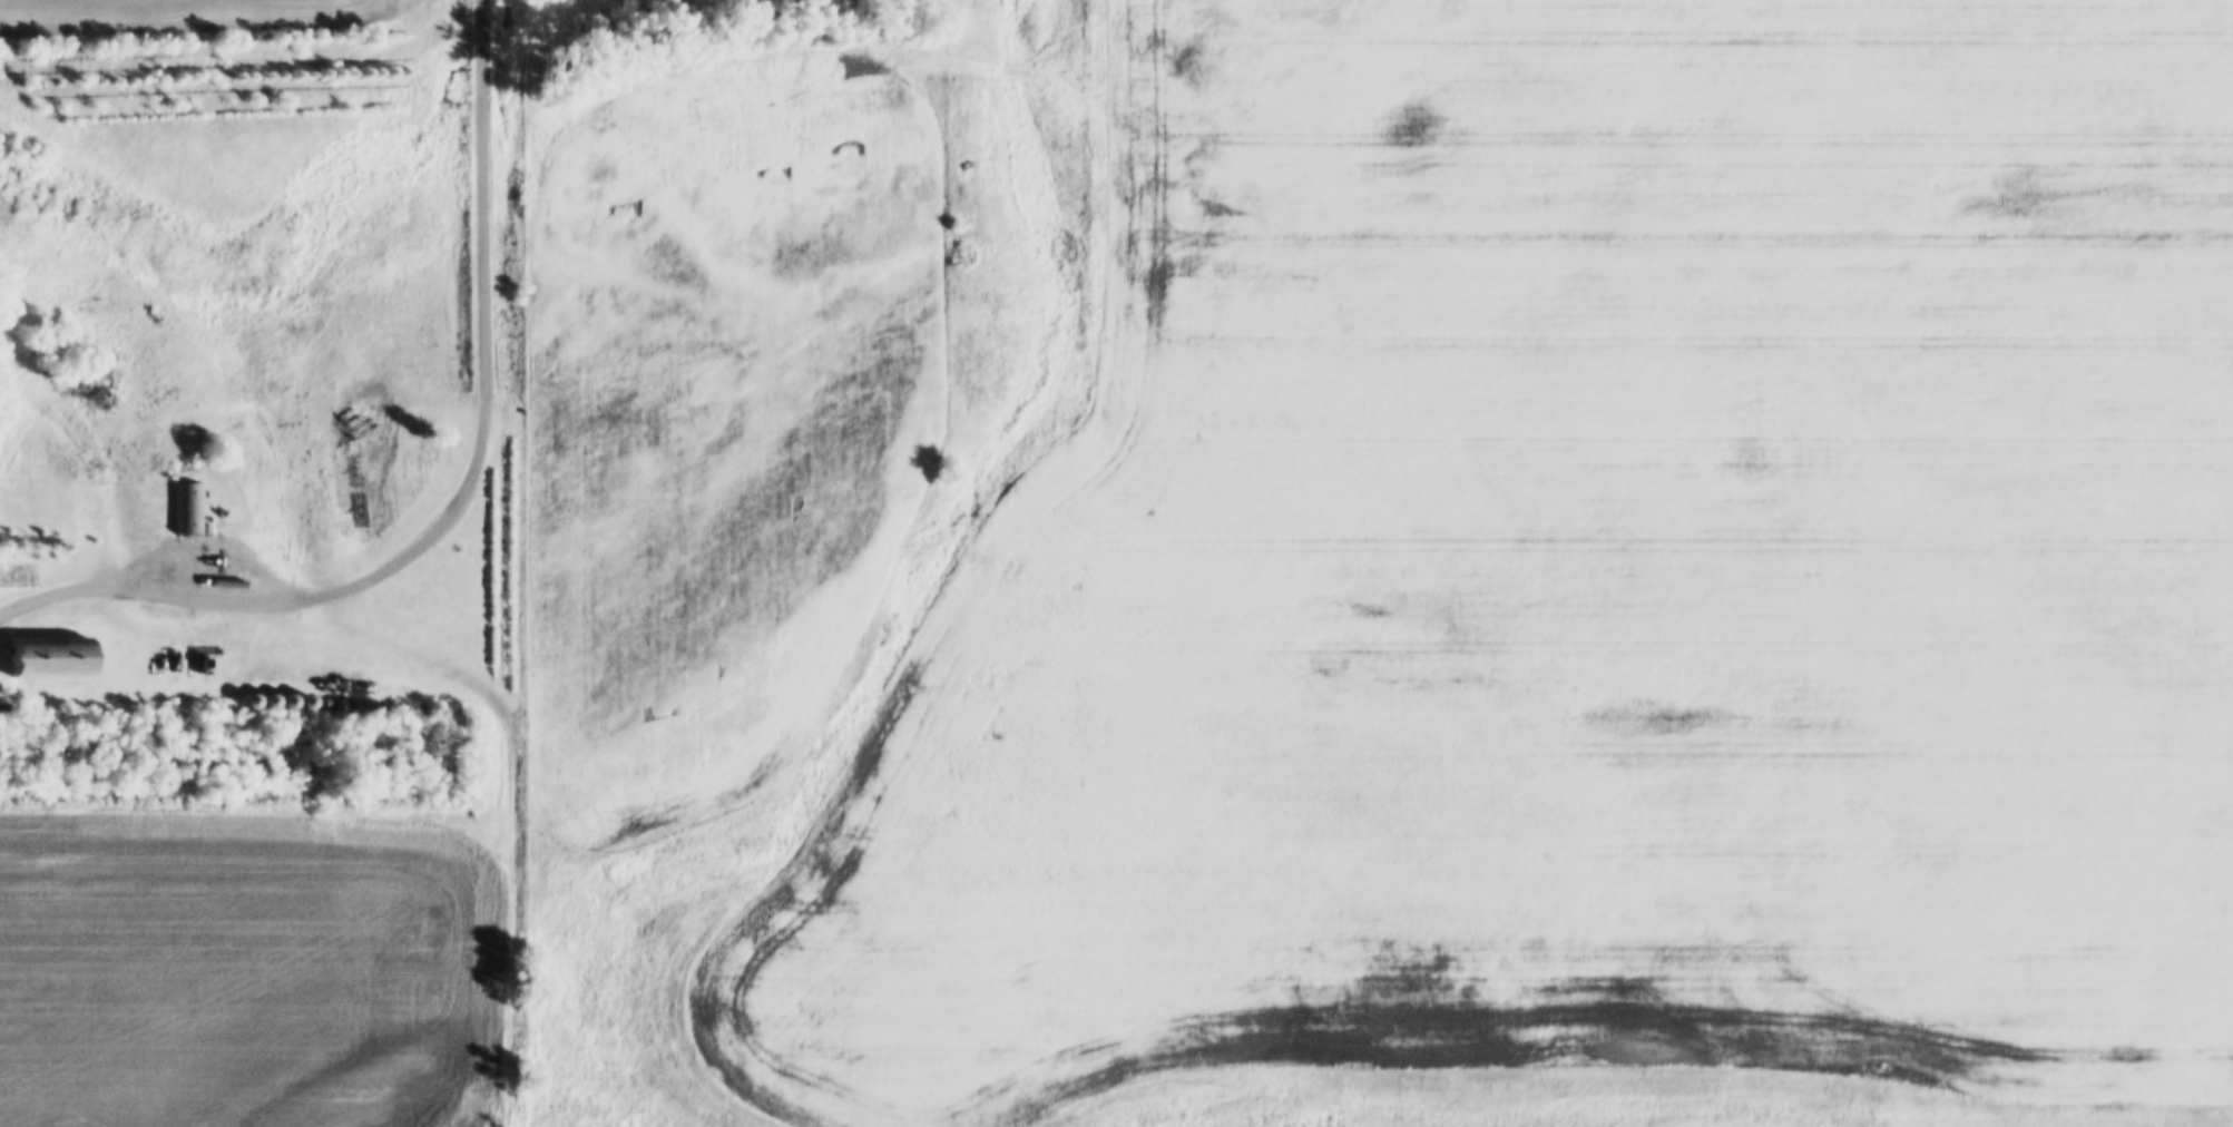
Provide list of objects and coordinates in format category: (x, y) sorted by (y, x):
road: (458, 493)
building: (189, 509)
building: (51, 657)

